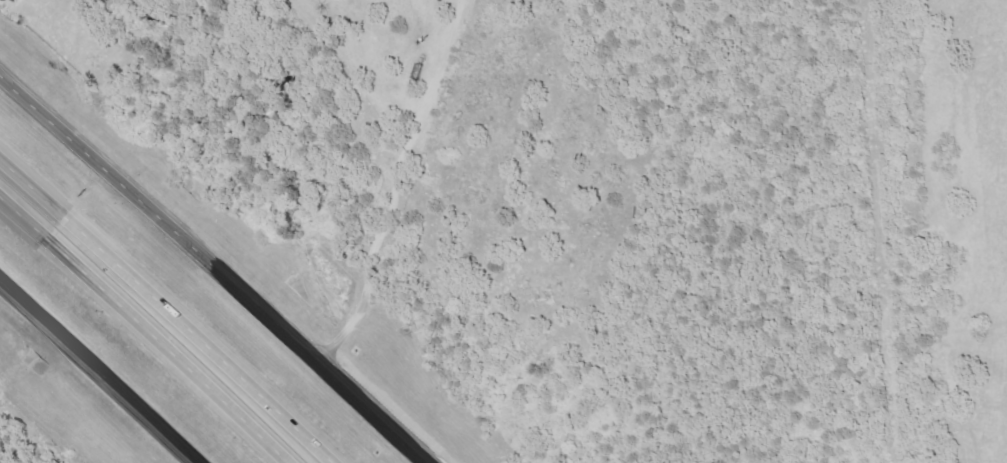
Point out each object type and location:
road: (212, 269)
road: (166, 310)
road: (144, 328)
road: (98, 369)

